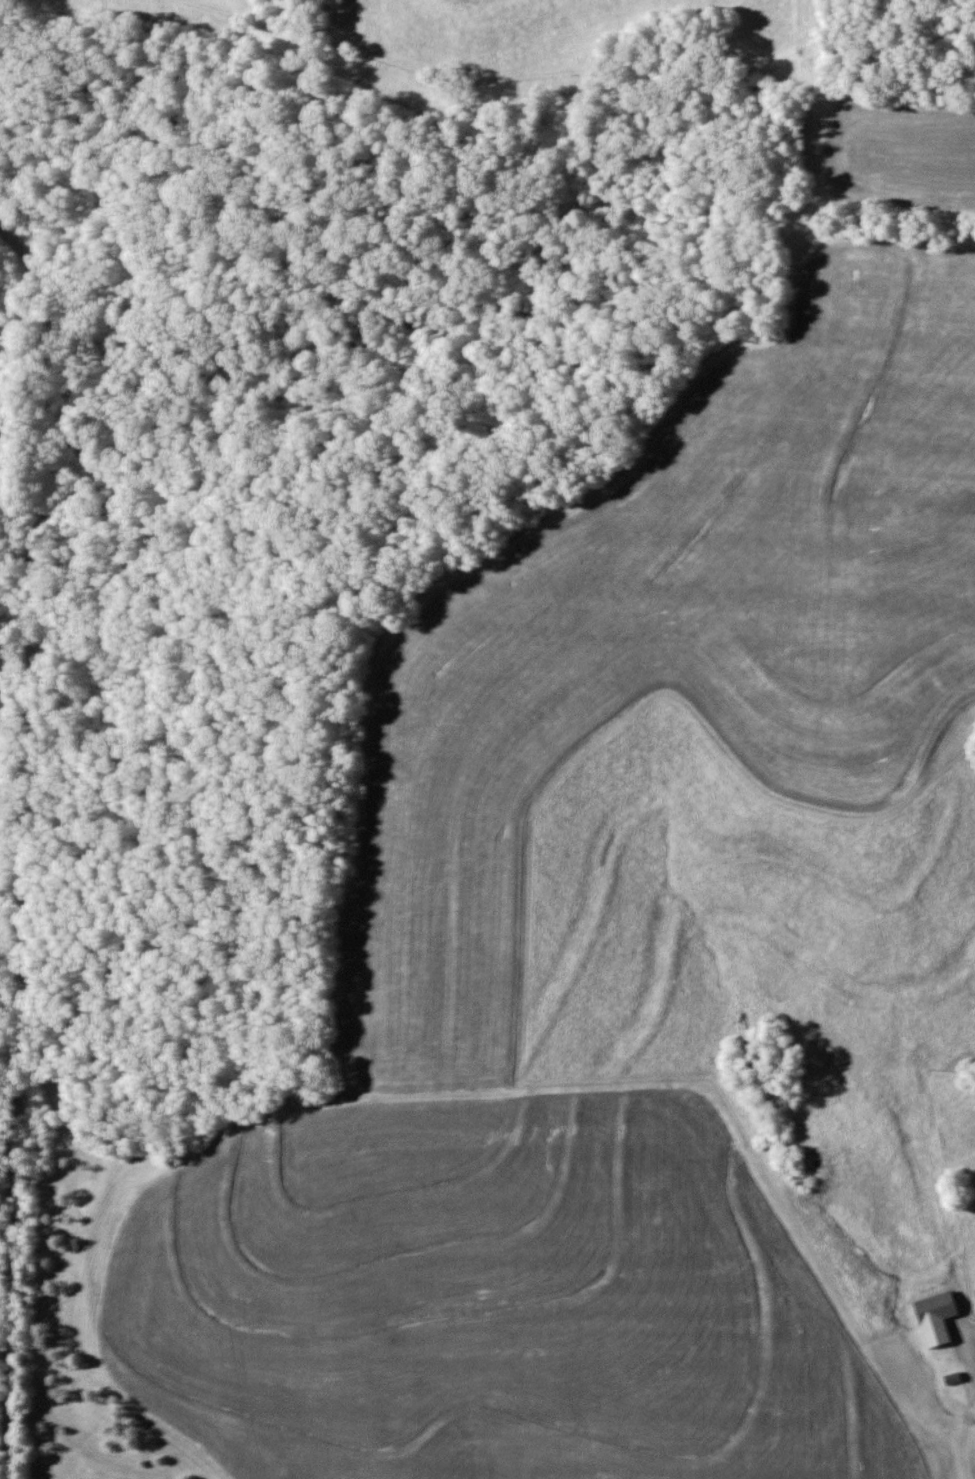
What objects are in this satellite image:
road: (15, 839)
building: (934, 1318)
road: (971, 1346)
road: (965, 1434)

